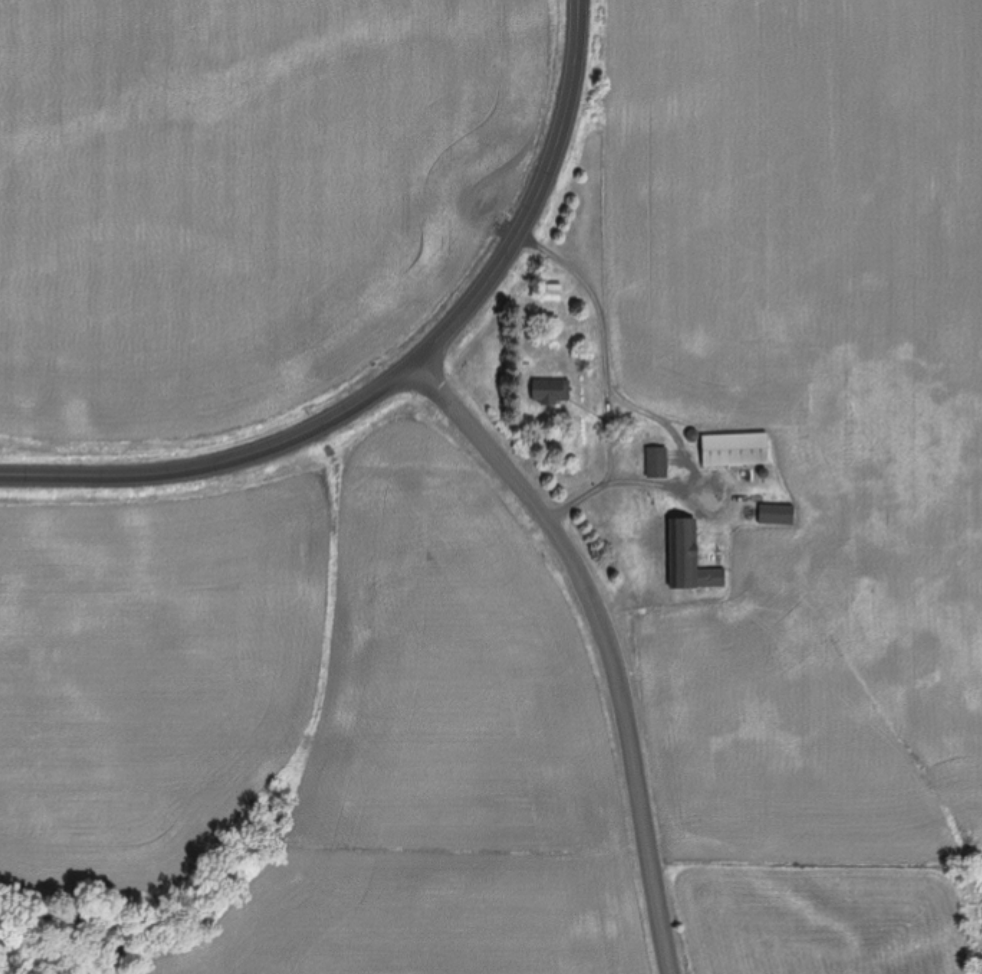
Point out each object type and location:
road: (539, 203)
building: (552, 292)
road: (607, 380)
building: (550, 392)
building: (734, 451)
road: (220, 464)
building: (657, 464)
building: (776, 516)
building: (688, 561)
road: (610, 642)

